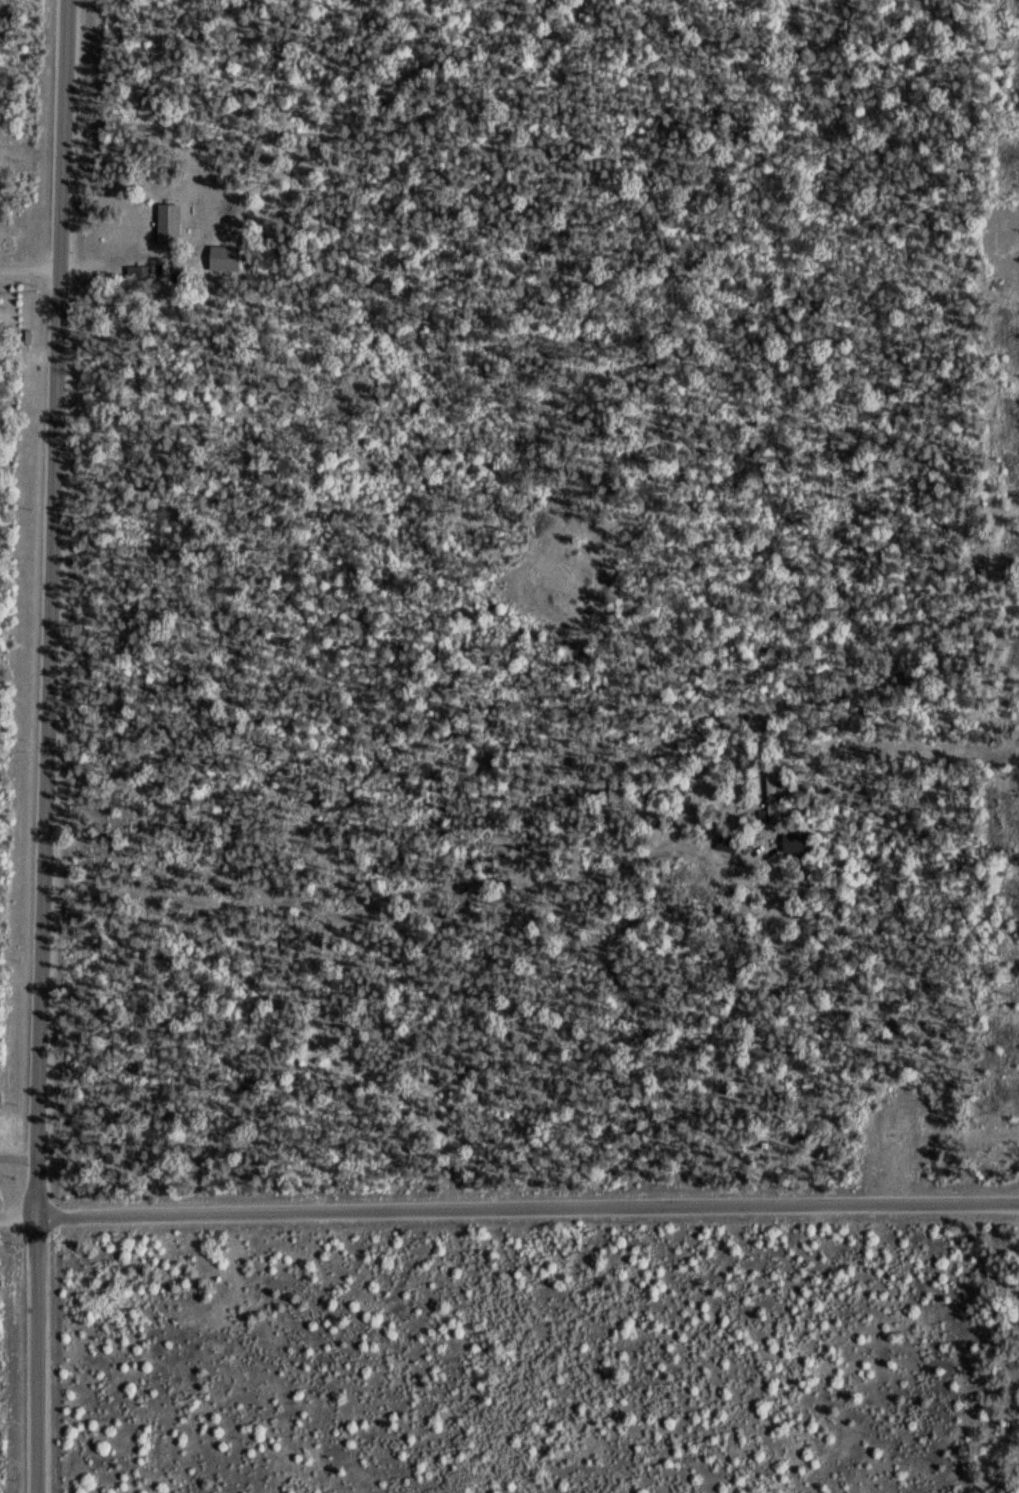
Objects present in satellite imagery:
building: (166, 225)
building: (222, 258)
road: (29, 269)
road: (894, 737)
road: (48, 746)
building: (770, 801)
road: (18, 1158)
road: (509, 1209)

